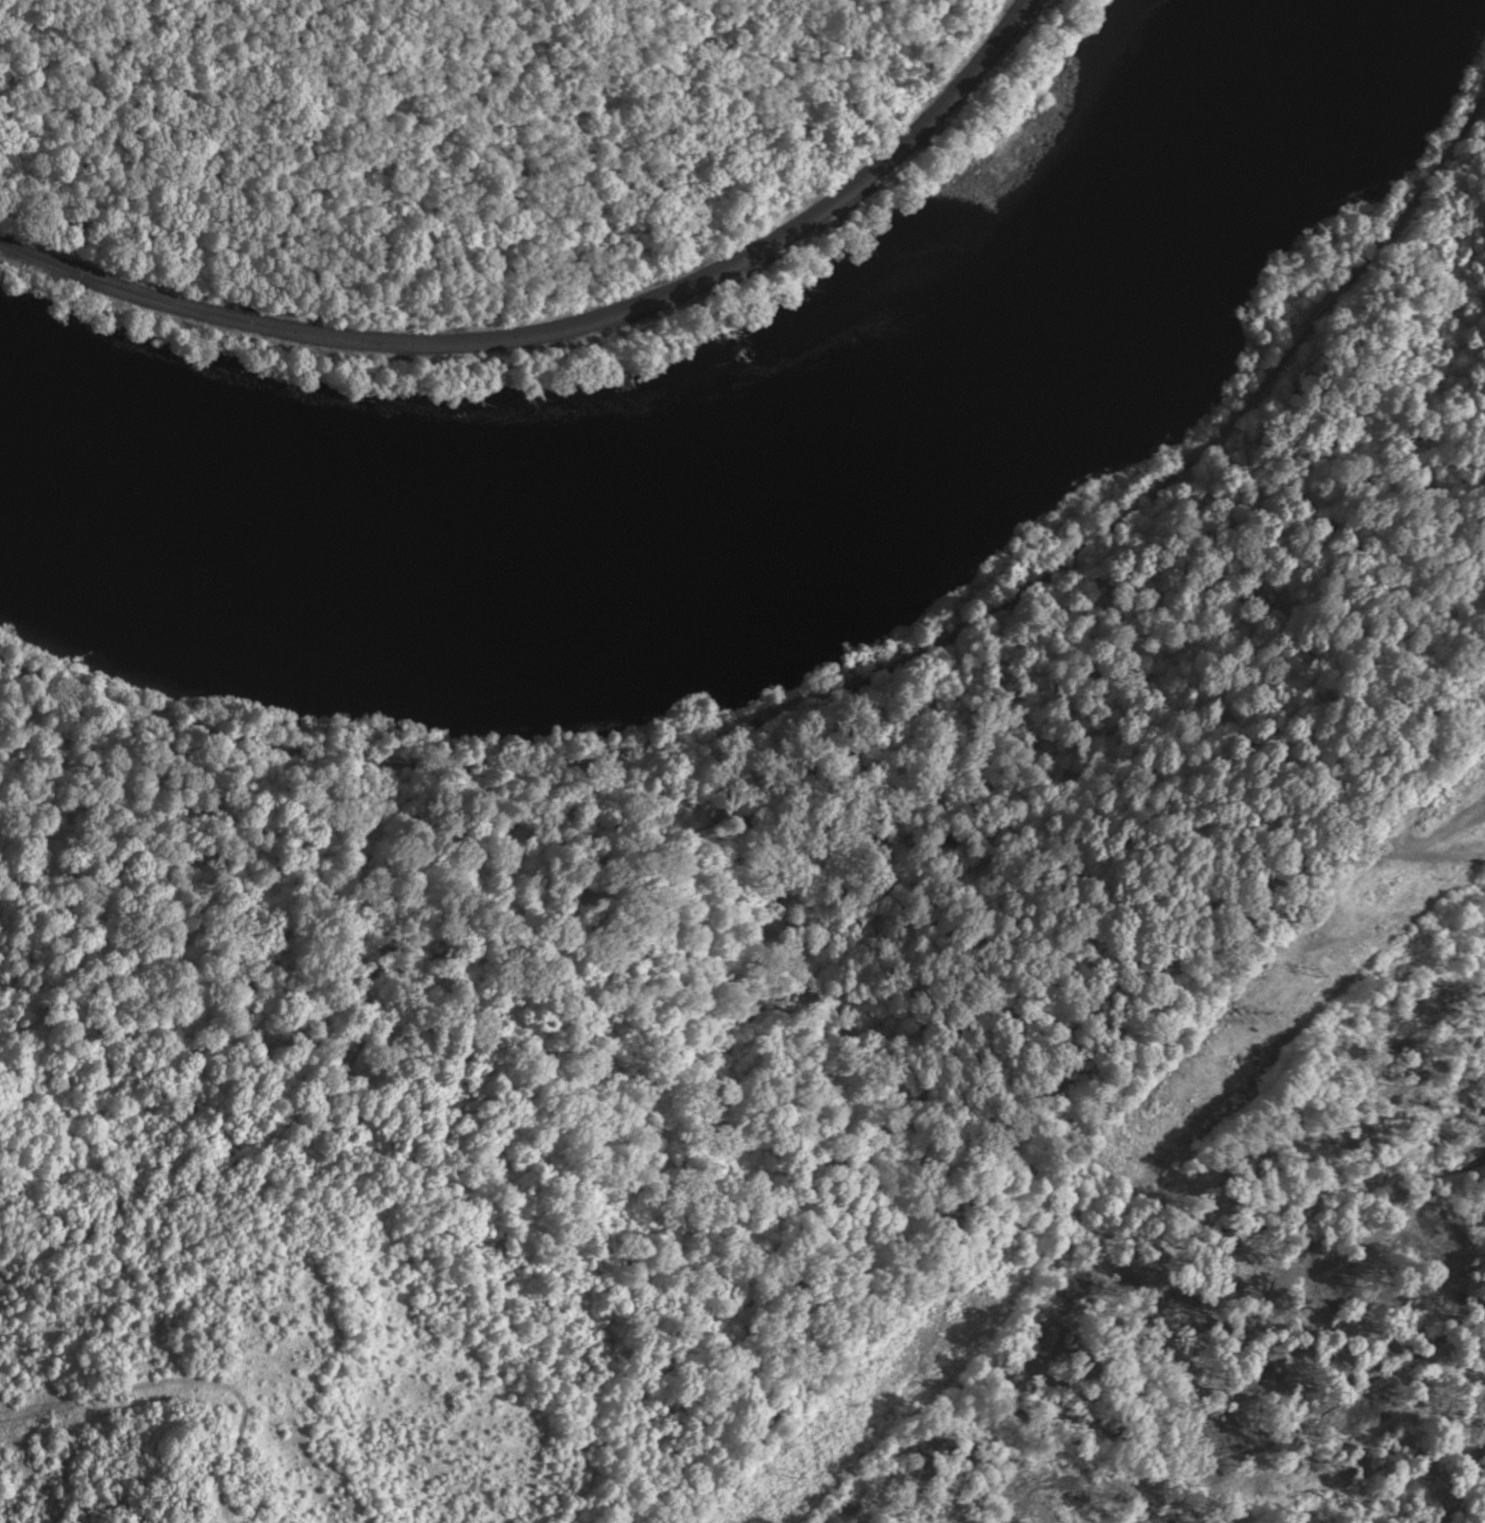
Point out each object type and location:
railway: (563, 332)
river: (764, 515)
road: (854, 685)

